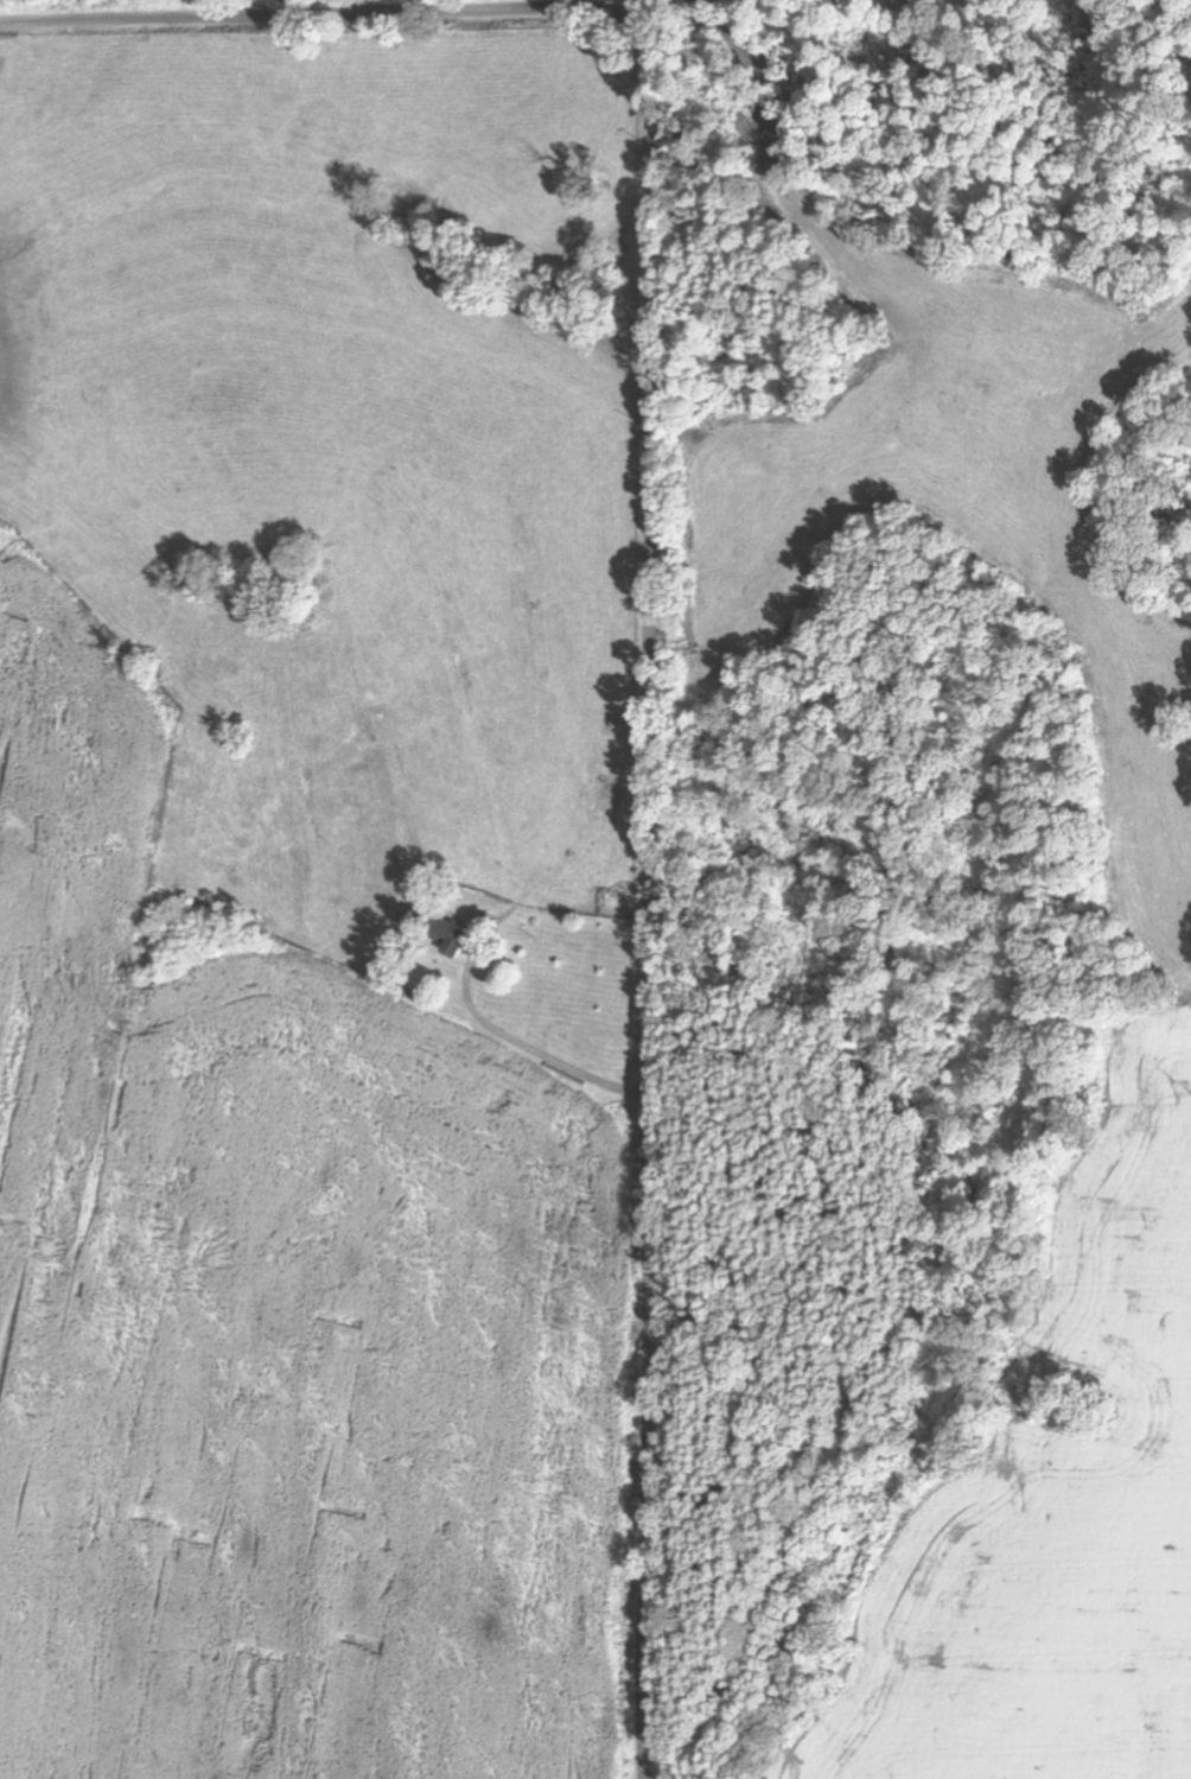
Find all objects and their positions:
road: (649, 574)
building: (445, 936)

